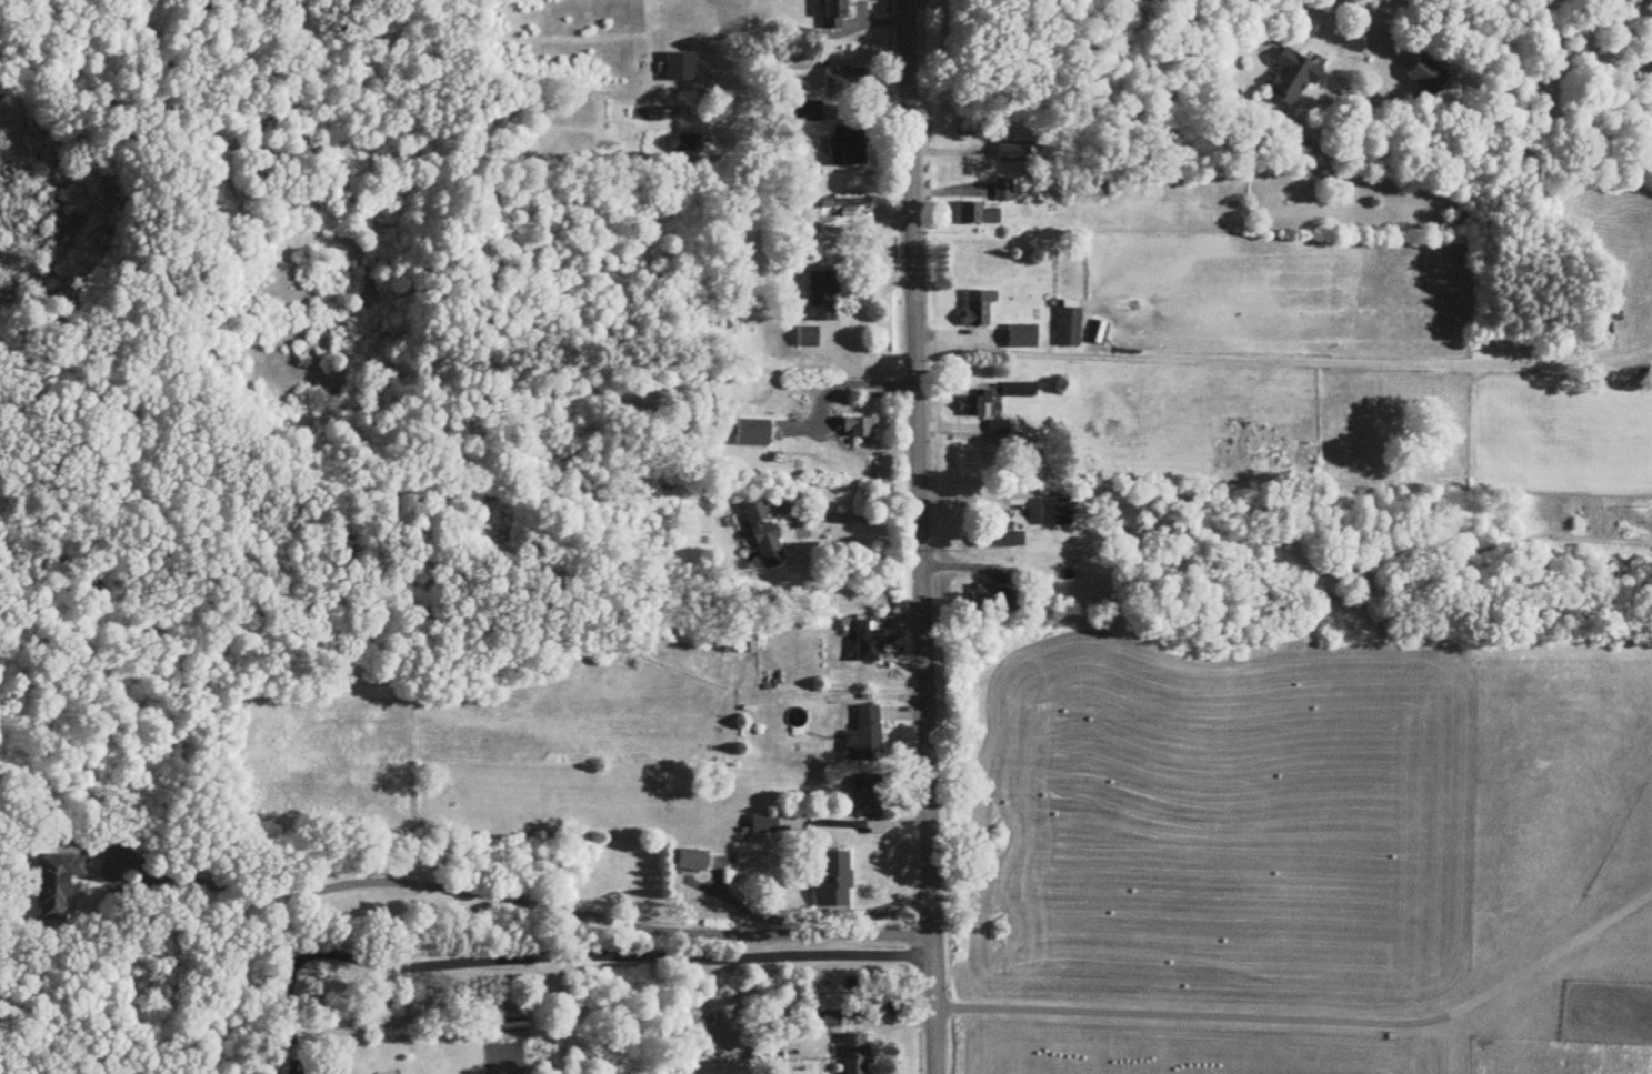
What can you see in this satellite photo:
building: (833, 14)
road: (1217, 32)
building: (681, 68)
building: (1426, 77)
building: (1292, 78)
building: (843, 79)
building: (807, 112)
building: (974, 127)
building: (684, 147)
building: (848, 148)
building: (1014, 152)
building: (1110, 190)
building: (1003, 191)
building: (845, 204)
building: (977, 215)
building: (822, 297)
building: (979, 308)
building: (1070, 329)
building: (1023, 337)
building: (808, 338)
road: (1283, 361)
building: (1020, 390)
building: (974, 405)
building: (859, 428)
building: (753, 433)
building: (1055, 504)
road: (860, 518)
building: (763, 532)
road: (920, 536)
building: (1004, 536)
building: (989, 598)
building: (1013, 600)
building: (748, 643)
building: (865, 644)
building: (865, 735)
building: (868, 796)
road: (867, 824)
building: (764, 825)
building: (691, 861)
building: (833, 880)
building: (56, 884)
road: (530, 903)
road: (555, 956)
building: (831, 1020)
road: (1310, 1020)
building: (854, 1054)

